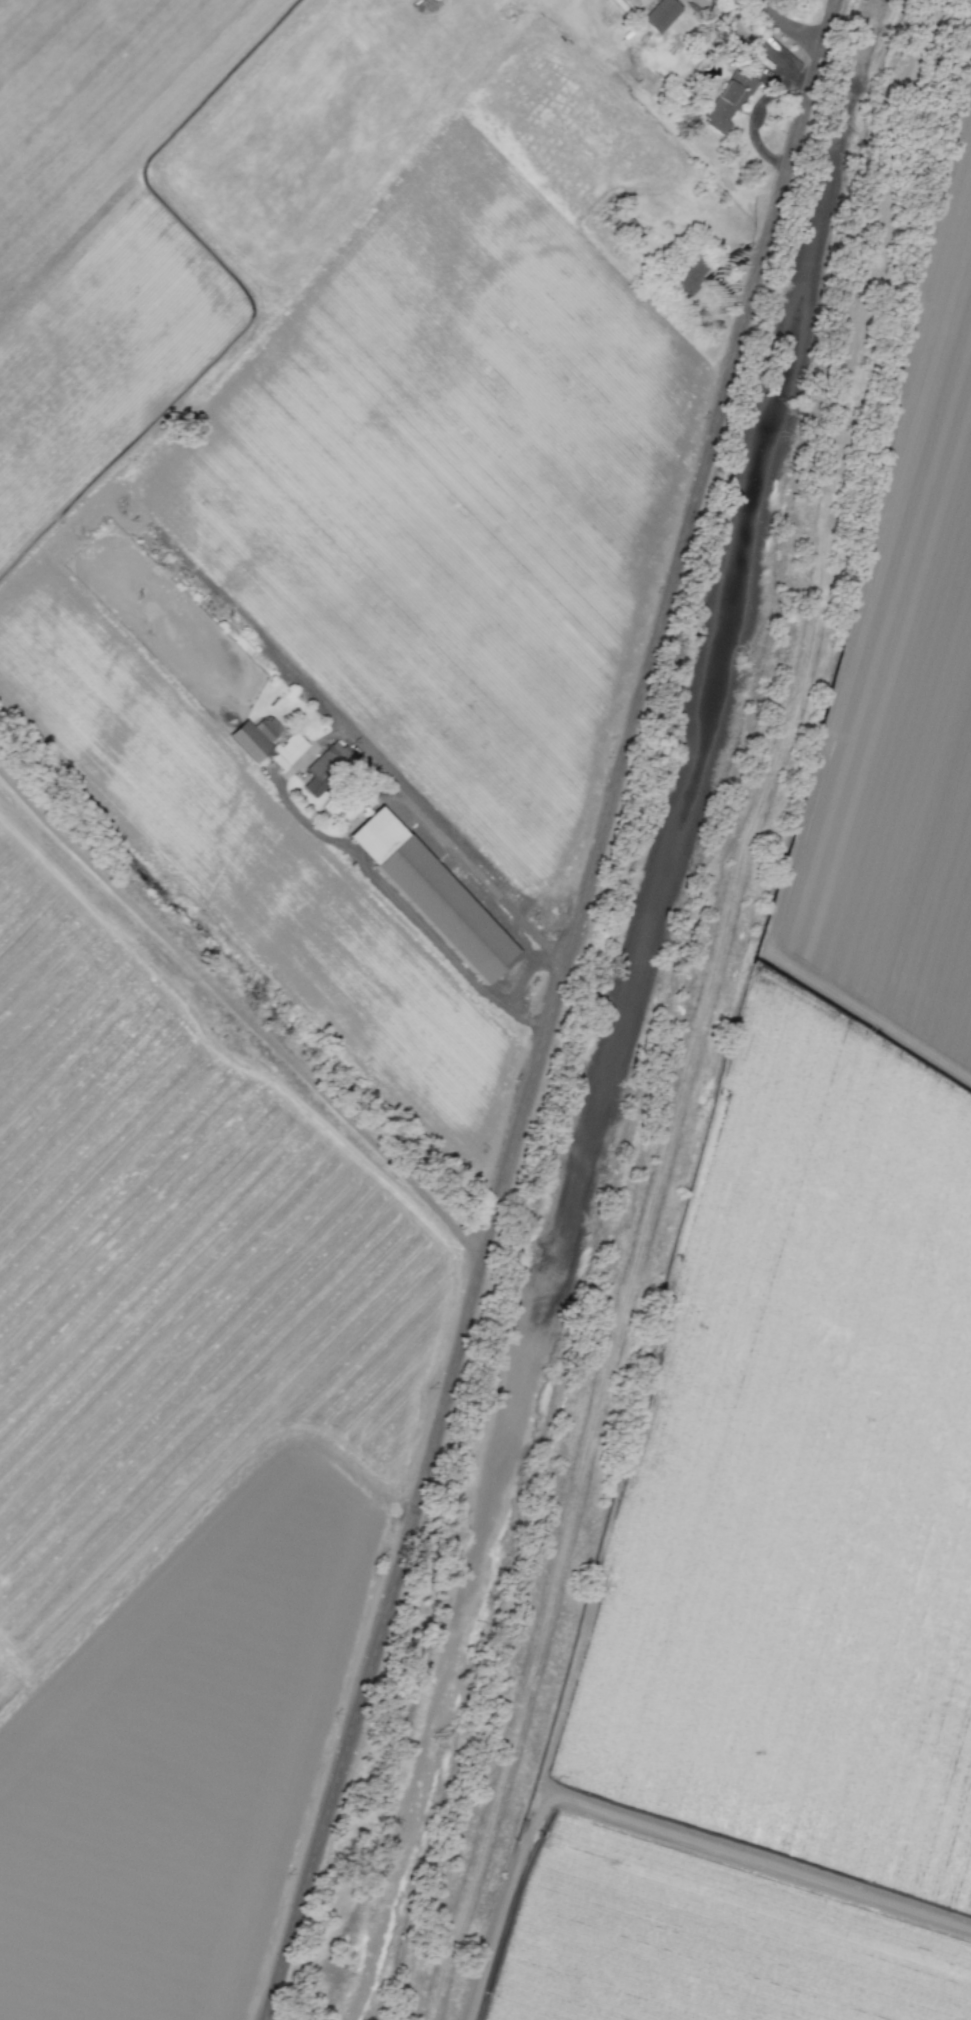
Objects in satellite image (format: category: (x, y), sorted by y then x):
building: (659, 14)
road: (785, 26)
crop: (724, 94)
building: (728, 100)
crop: (694, 109)
building: (688, 277)
building: (255, 736)
building: (289, 748)
building: (374, 834)
crop: (270, 862)
road: (480, 879)
building: (444, 909)
road: (403, 910)
road: (550, 1009)
road: (705, 1012)
road: (242, 1014)
crop: (800, 1370)

